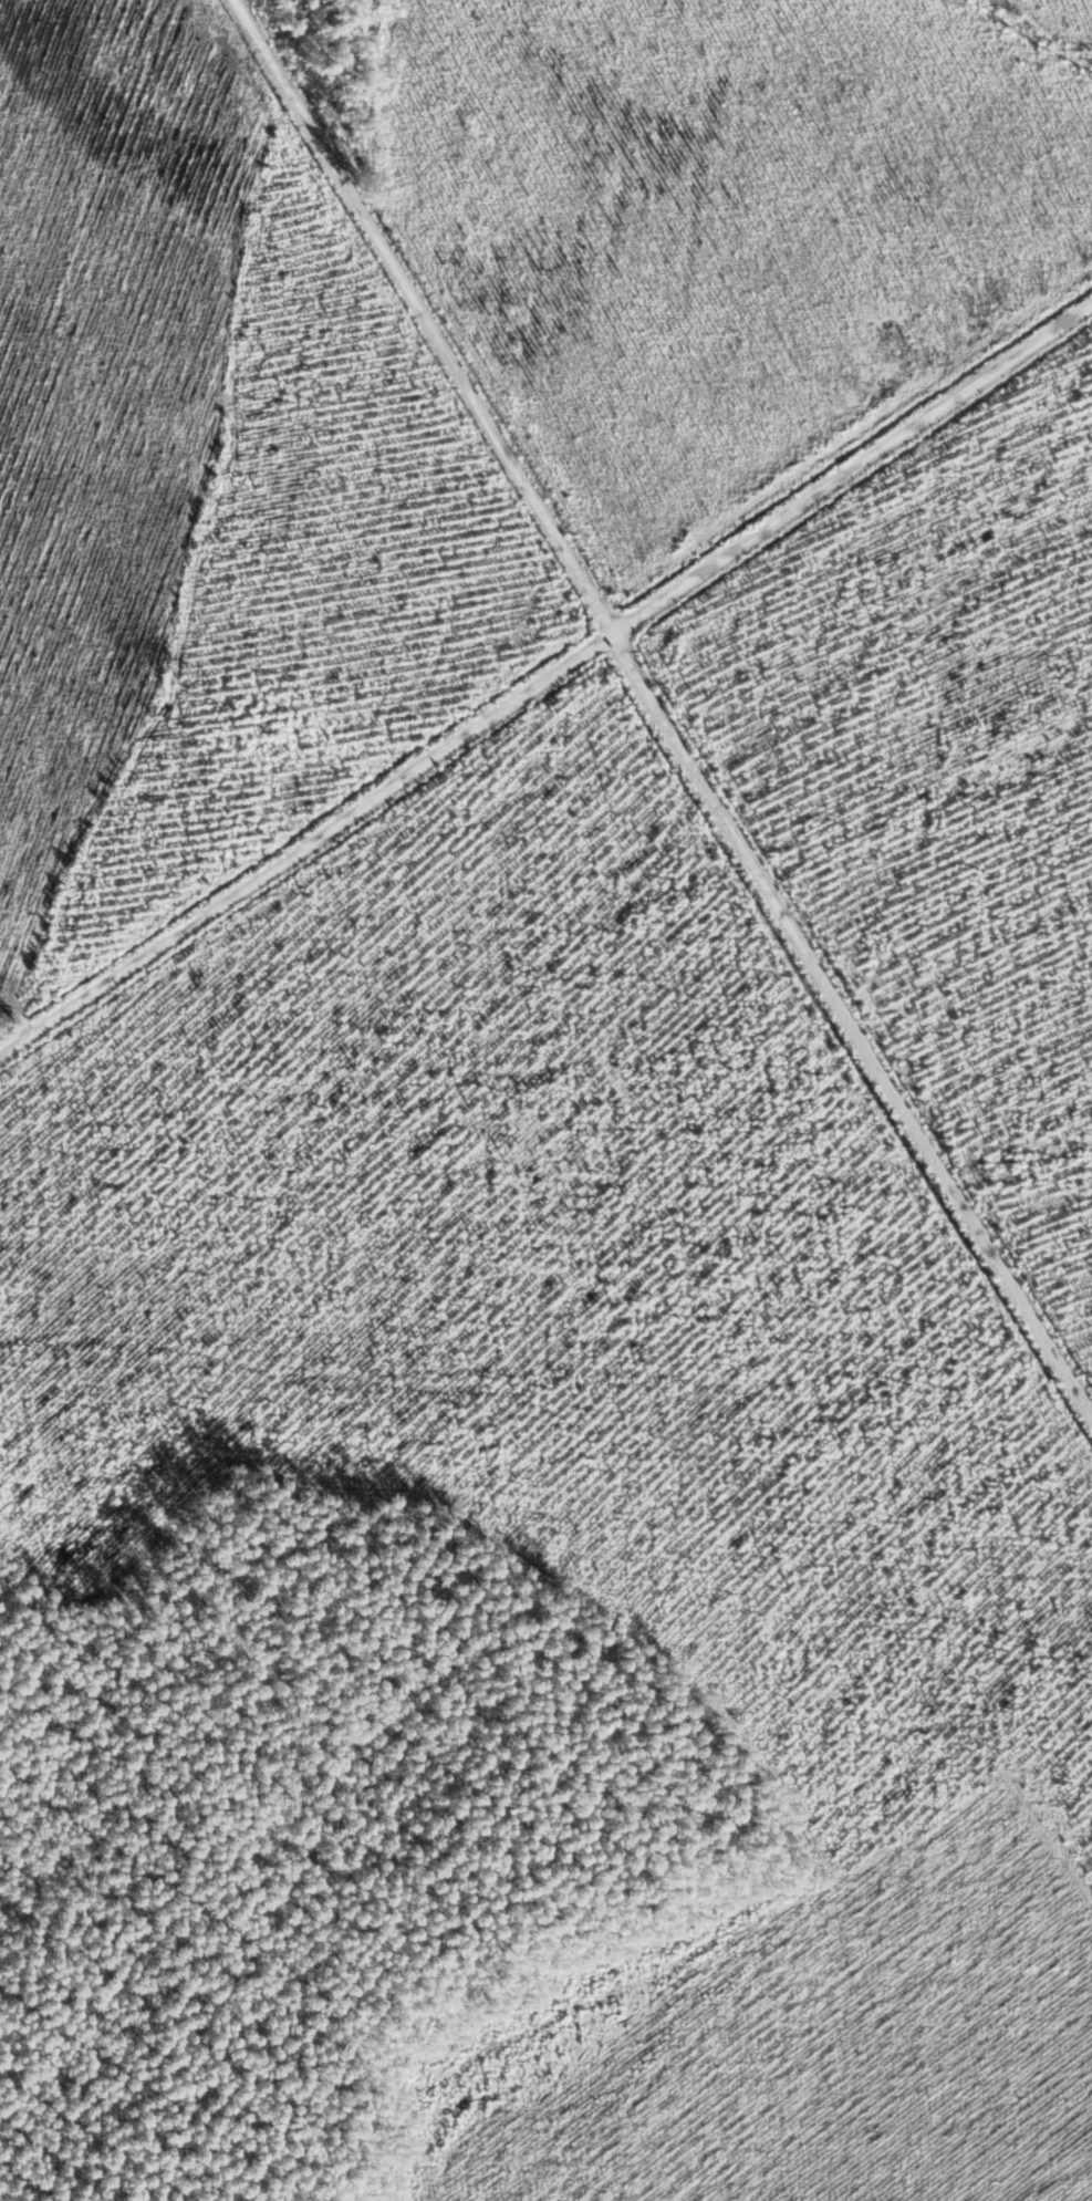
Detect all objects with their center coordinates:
road: (535, 677)
road: (655, 694)

